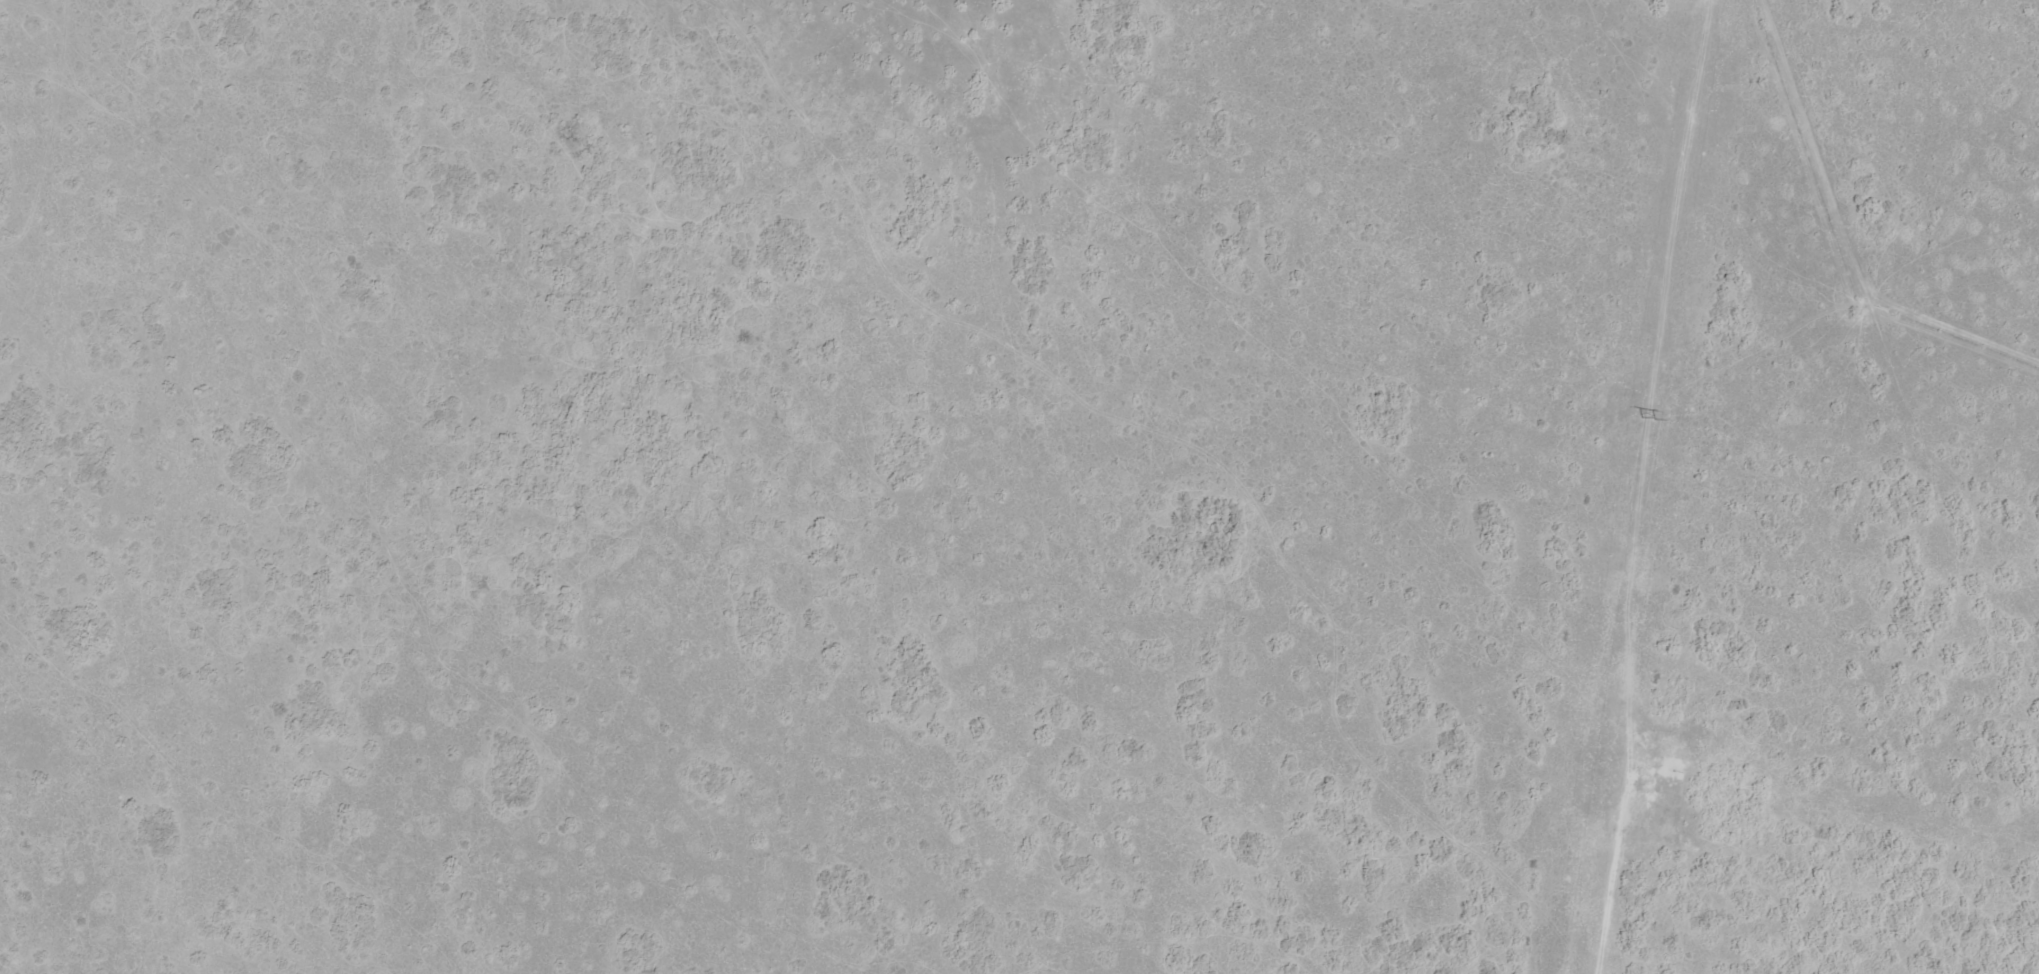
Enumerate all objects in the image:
power tower: (1647, 417)

